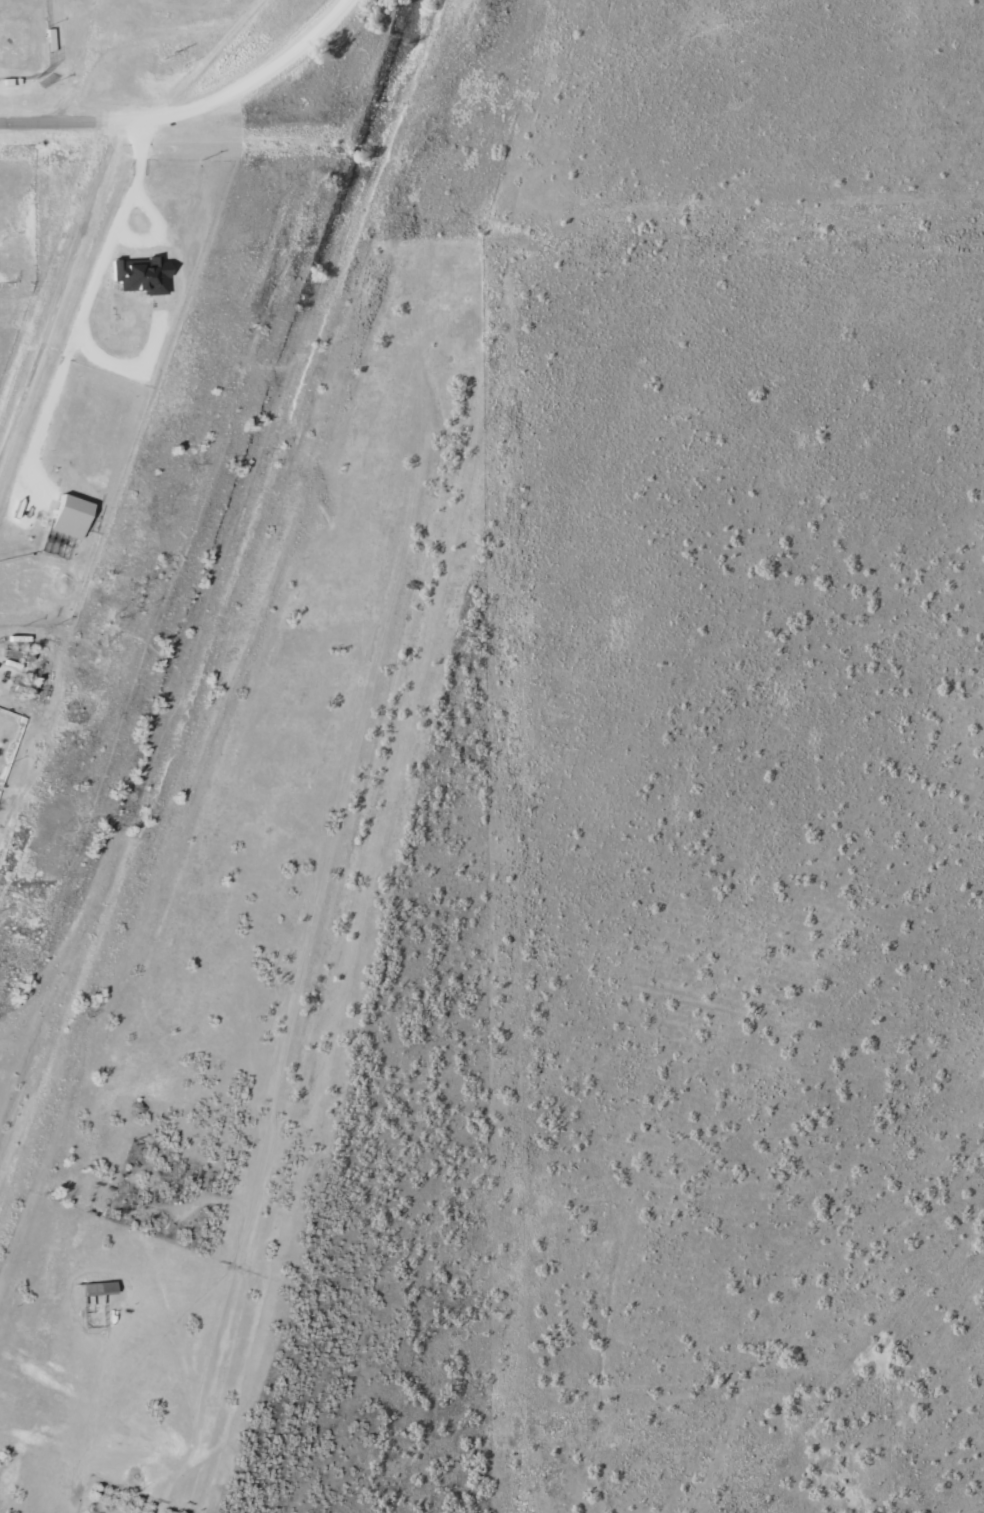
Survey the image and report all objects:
park: (22, 38)
road: (249, 87)
road: (59, 121)
road: (156, 228)
building: (144, 275)
road: (59, 288)
road: (83, 309)
road: (132, 362)
building: (71, 515)
railway: (232, 638)

